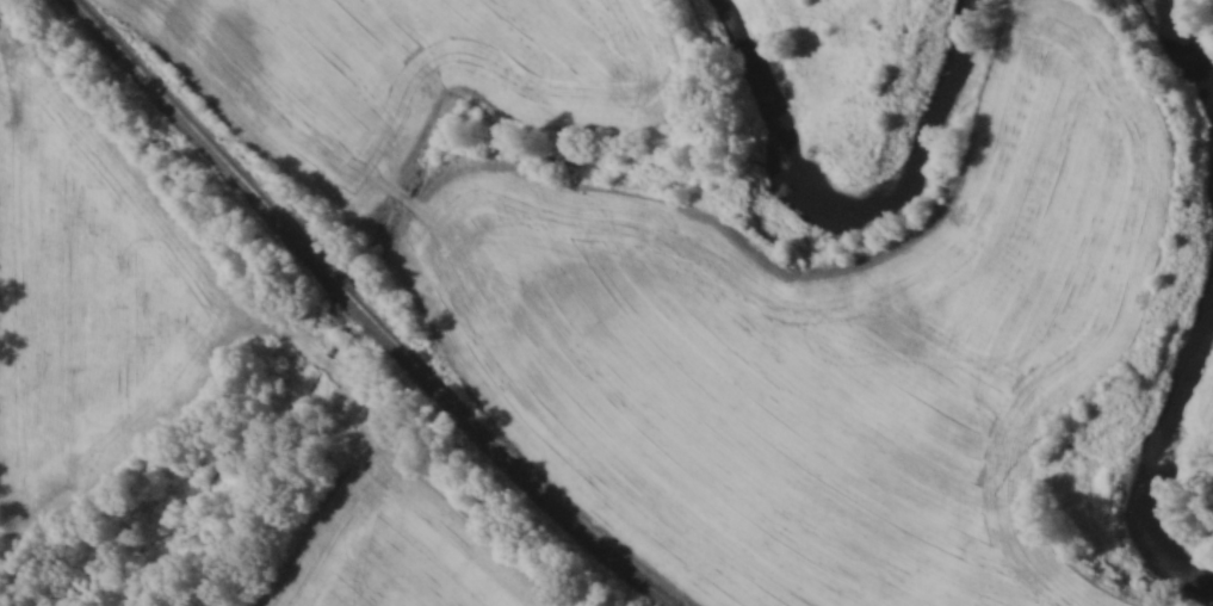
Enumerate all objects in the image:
river: (1196, 31)
river: (827, 198)
railway: (363, 311)
river: (1163, 428)

